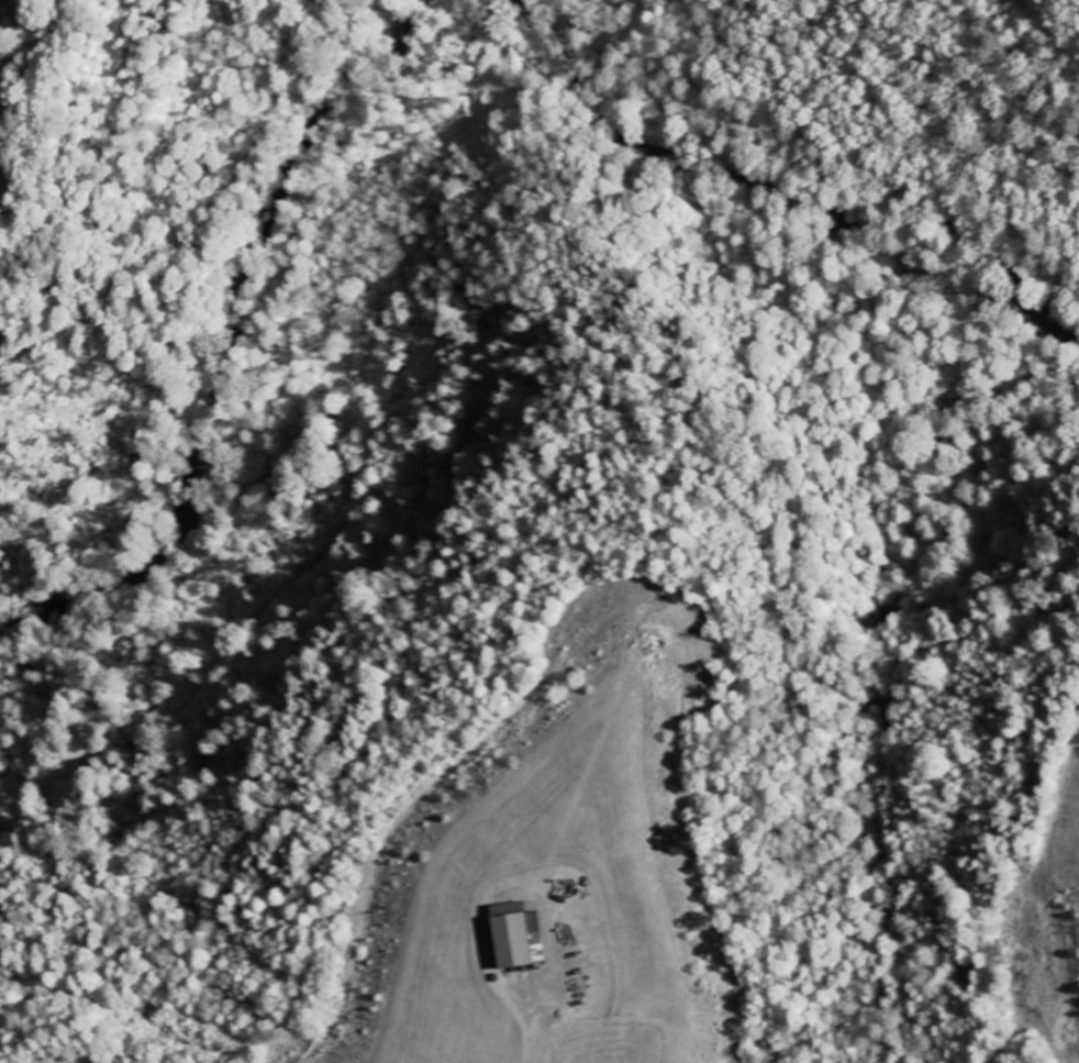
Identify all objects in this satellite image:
building: (515, 934)

